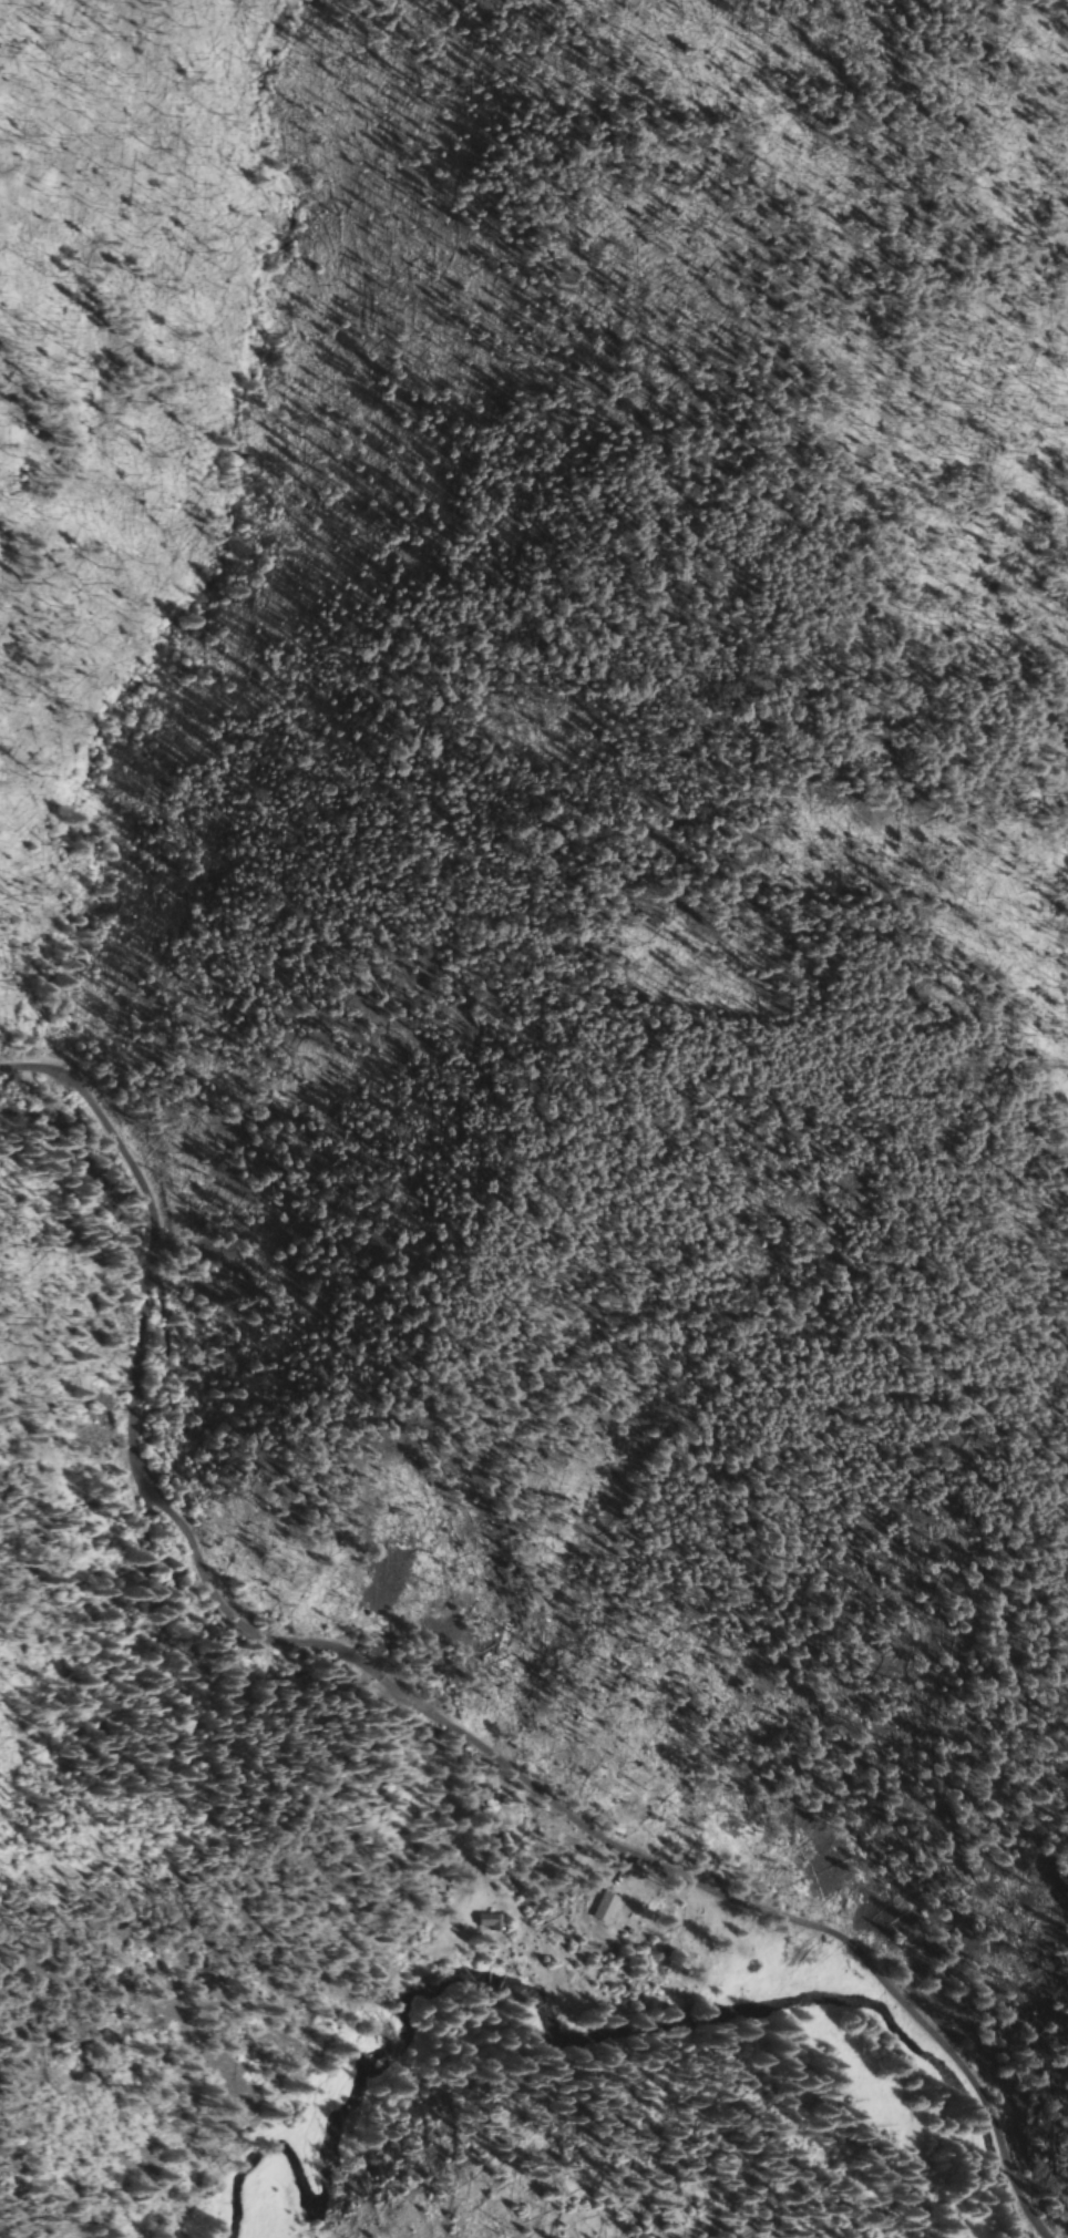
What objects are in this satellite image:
road: (414, 1700)
road: (464, 1840)
building: (603, 1907)
building: (487, 1922)
river: (791, 2003)
river: (327, 2153)

